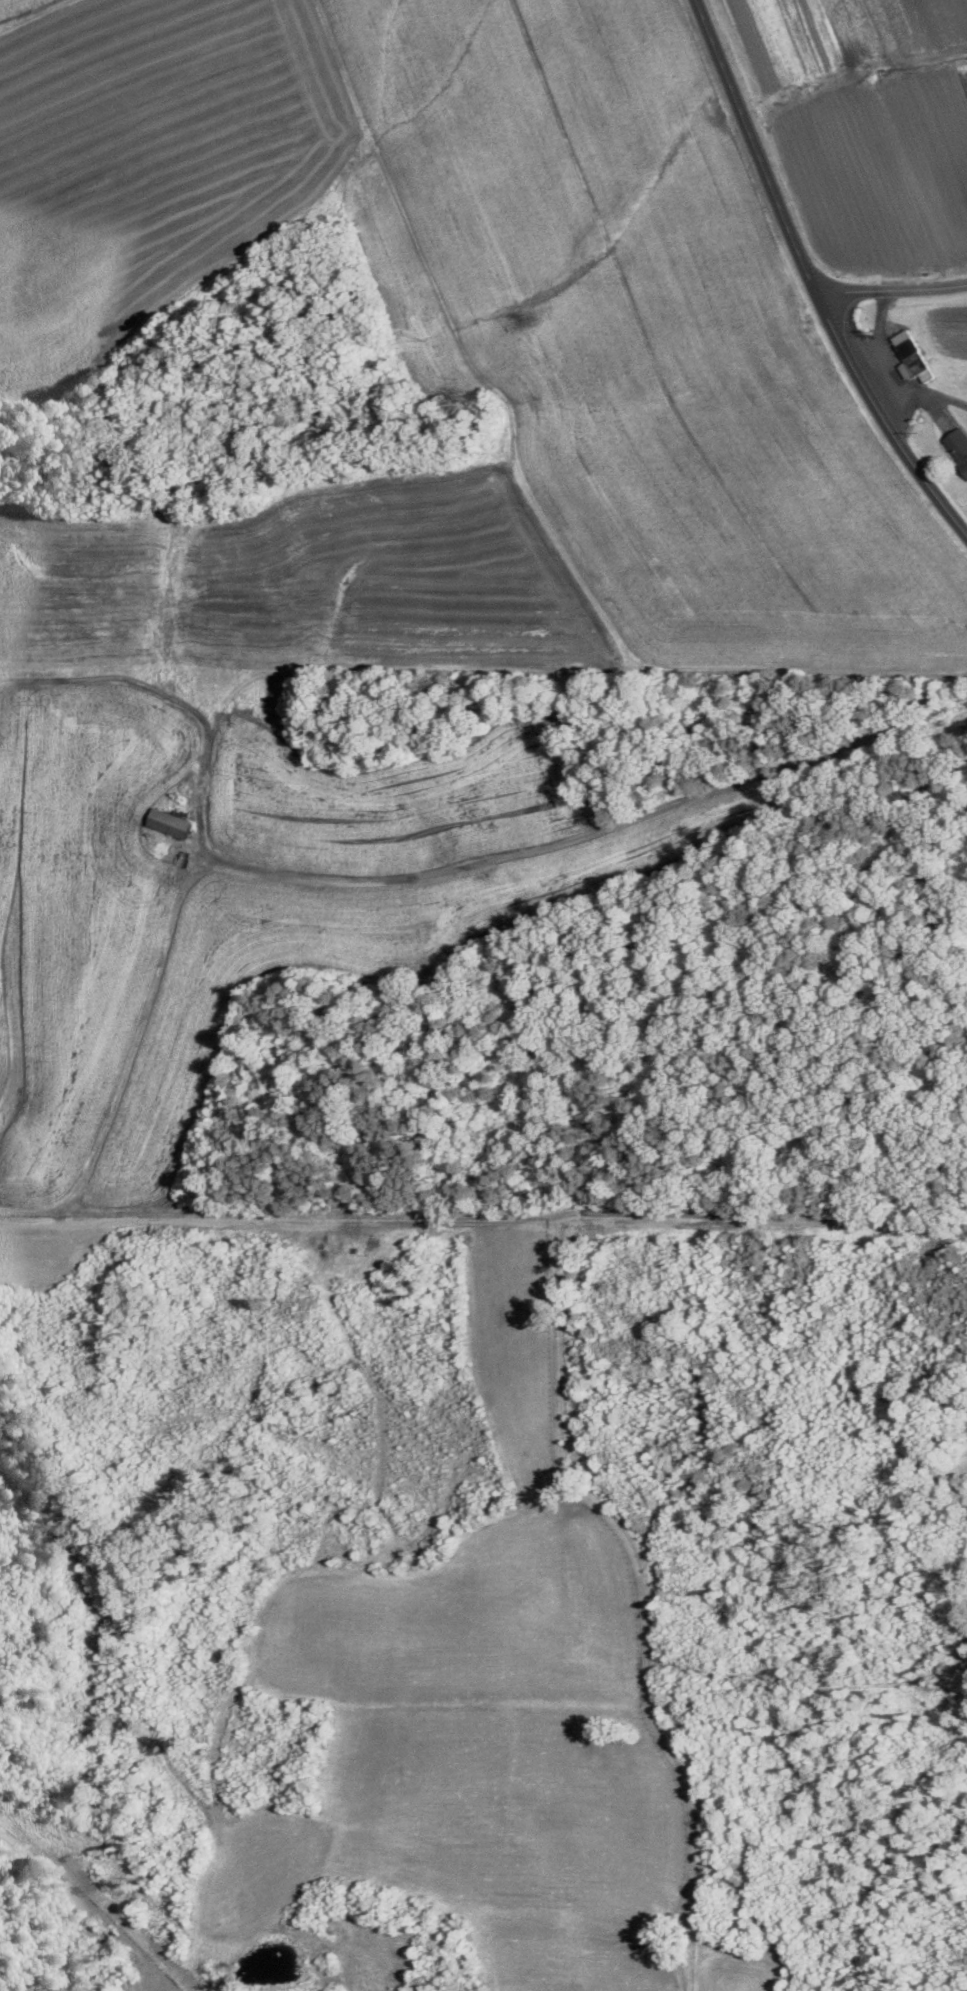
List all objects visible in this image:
road: (809, 278)
road: (891, 292)
building: (914, 357)
road: (889, 376)
road: (905, 414)
building: (958, 445)
building: (171, 823)
road: (586, 835)
road: (483, 1185)

